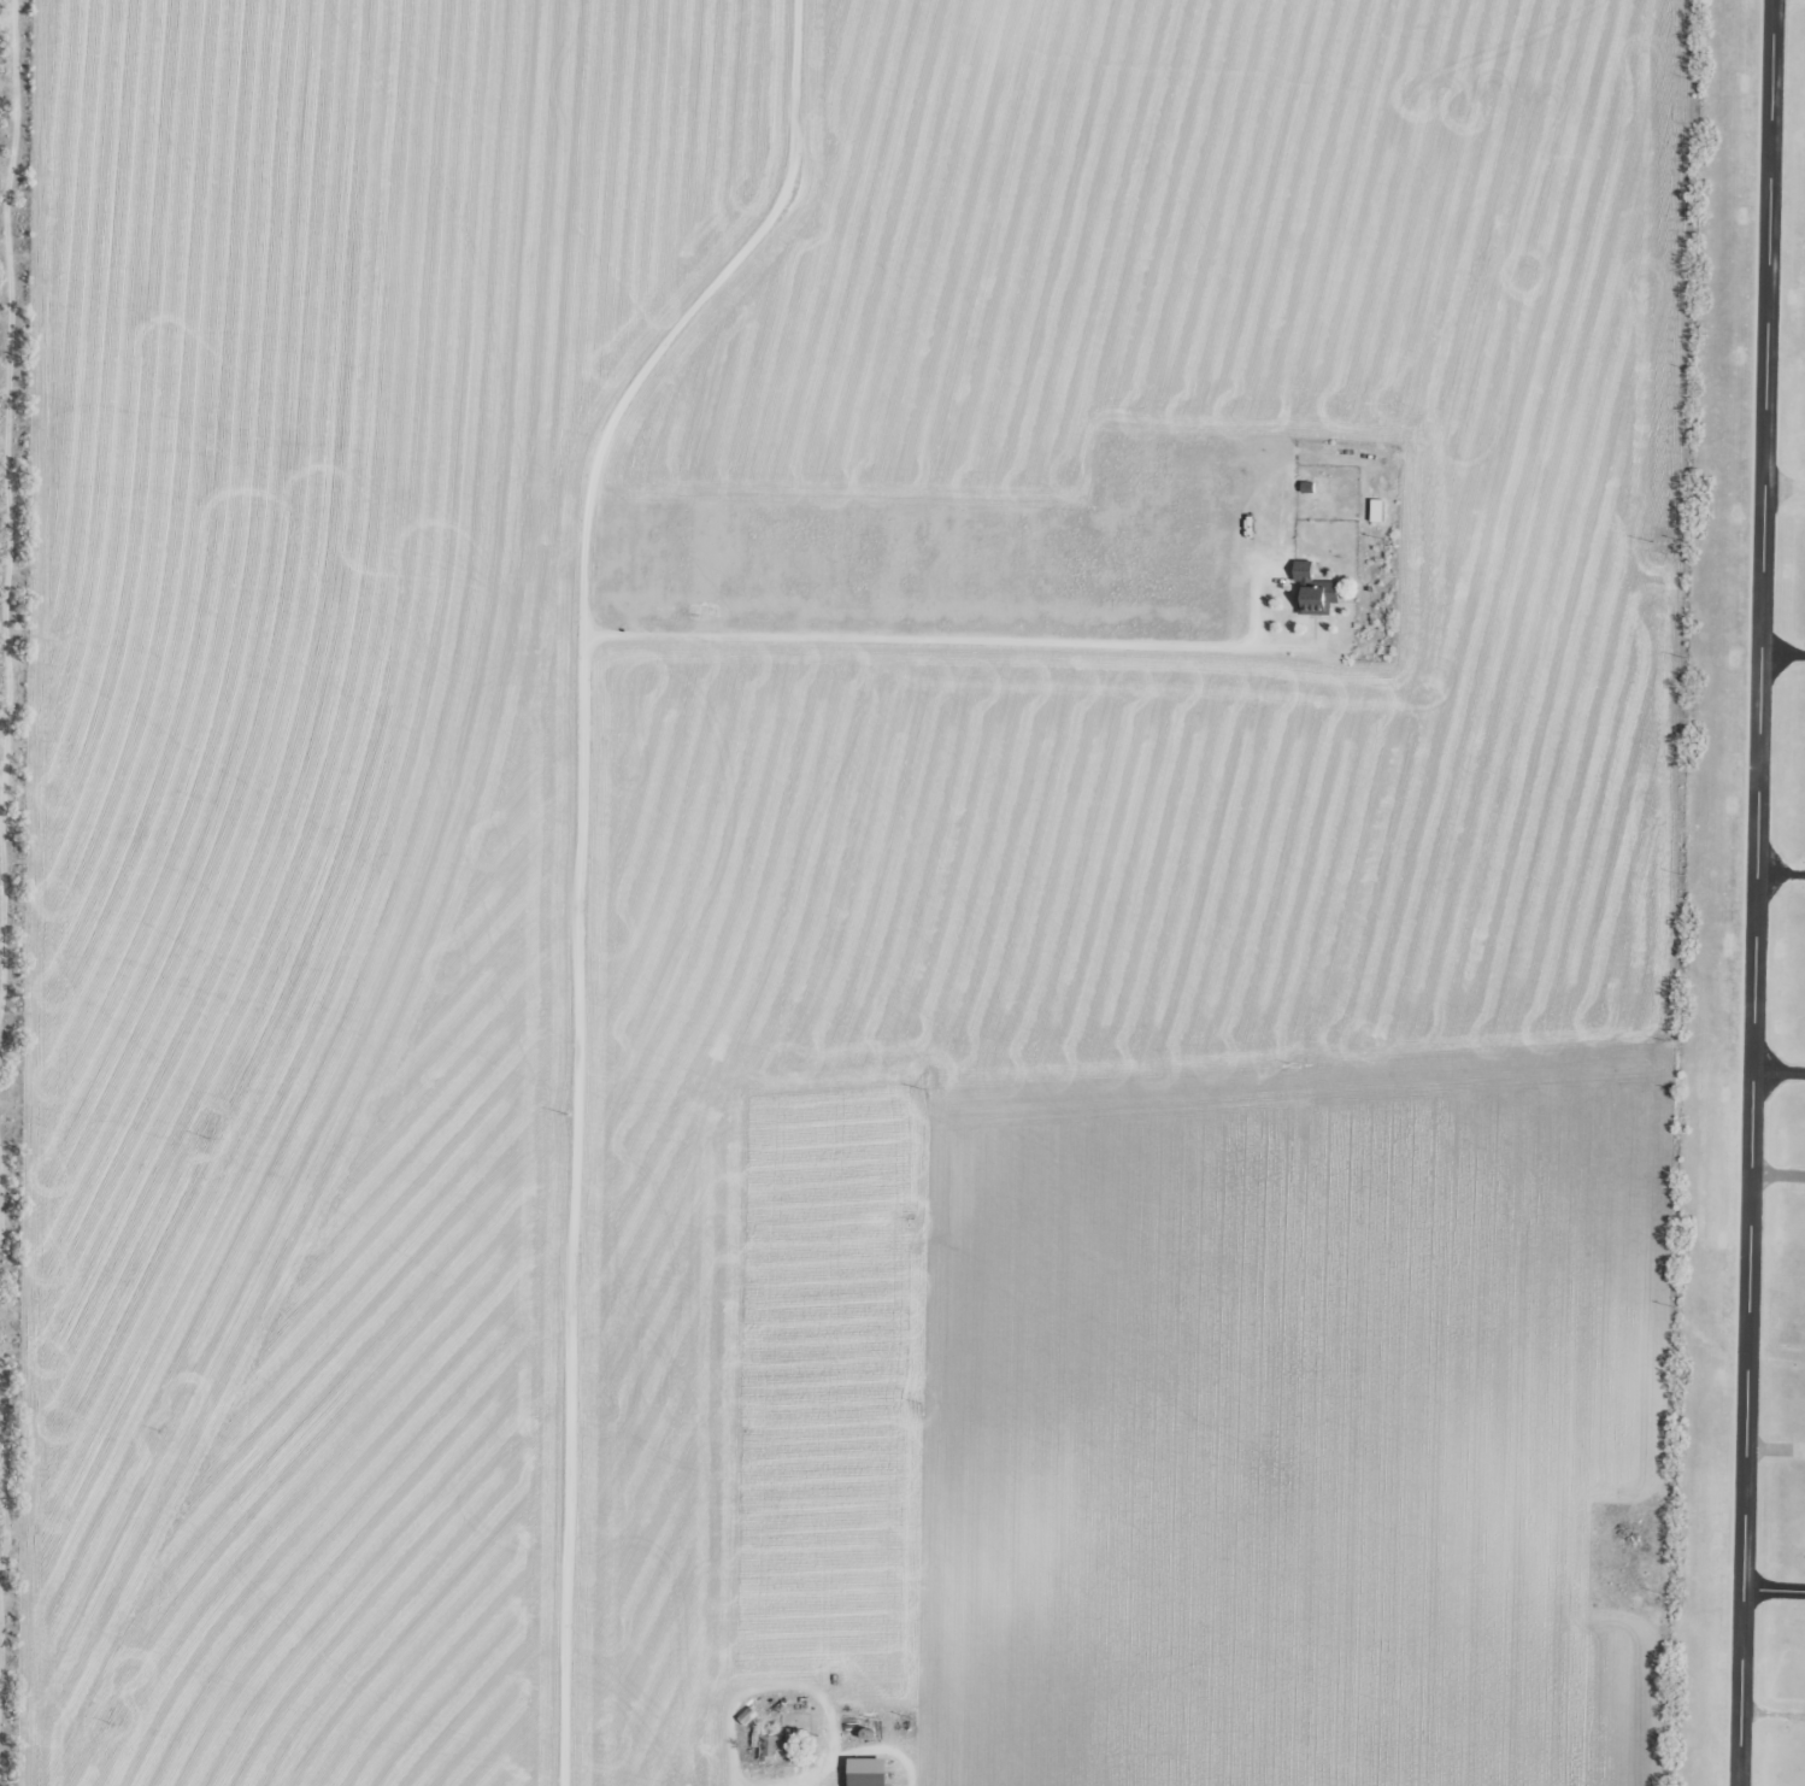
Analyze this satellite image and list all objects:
road: (1794, 218)
building: (1375, 510)
building: (1313, 589)
road: (1793, 653)
airport runway: (1753, 893)
airport: (1744, 946)
road: (1797, 1075)
building: (865, 1772)

